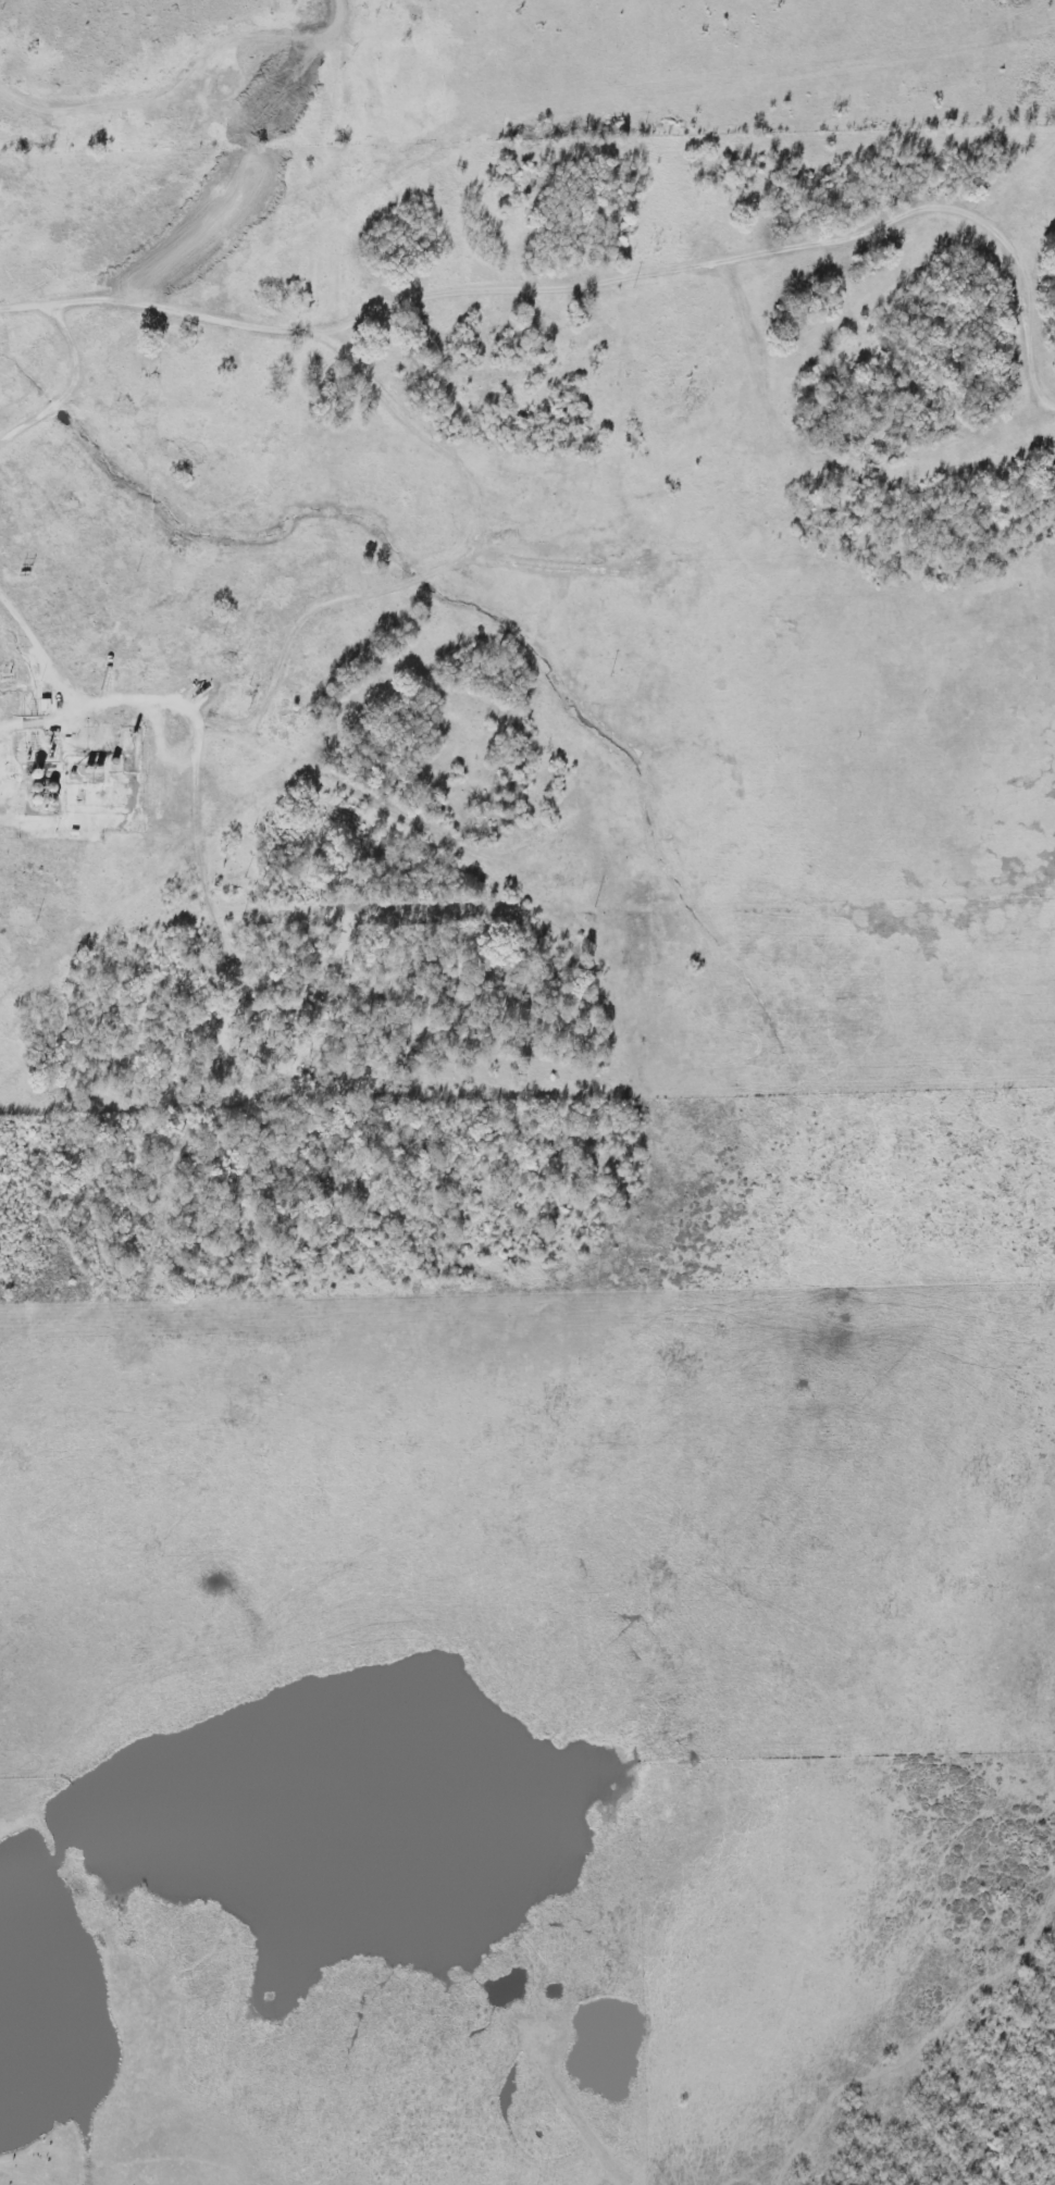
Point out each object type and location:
road: (340, 14)
road: (177, 88)
road: (596, 285)
road: (71, 382)
road: (460, 558)
road: (42, 650)
road: (125, 705)
road: (202, 796)
road: (587, 2130)
road: (7, 2161)

